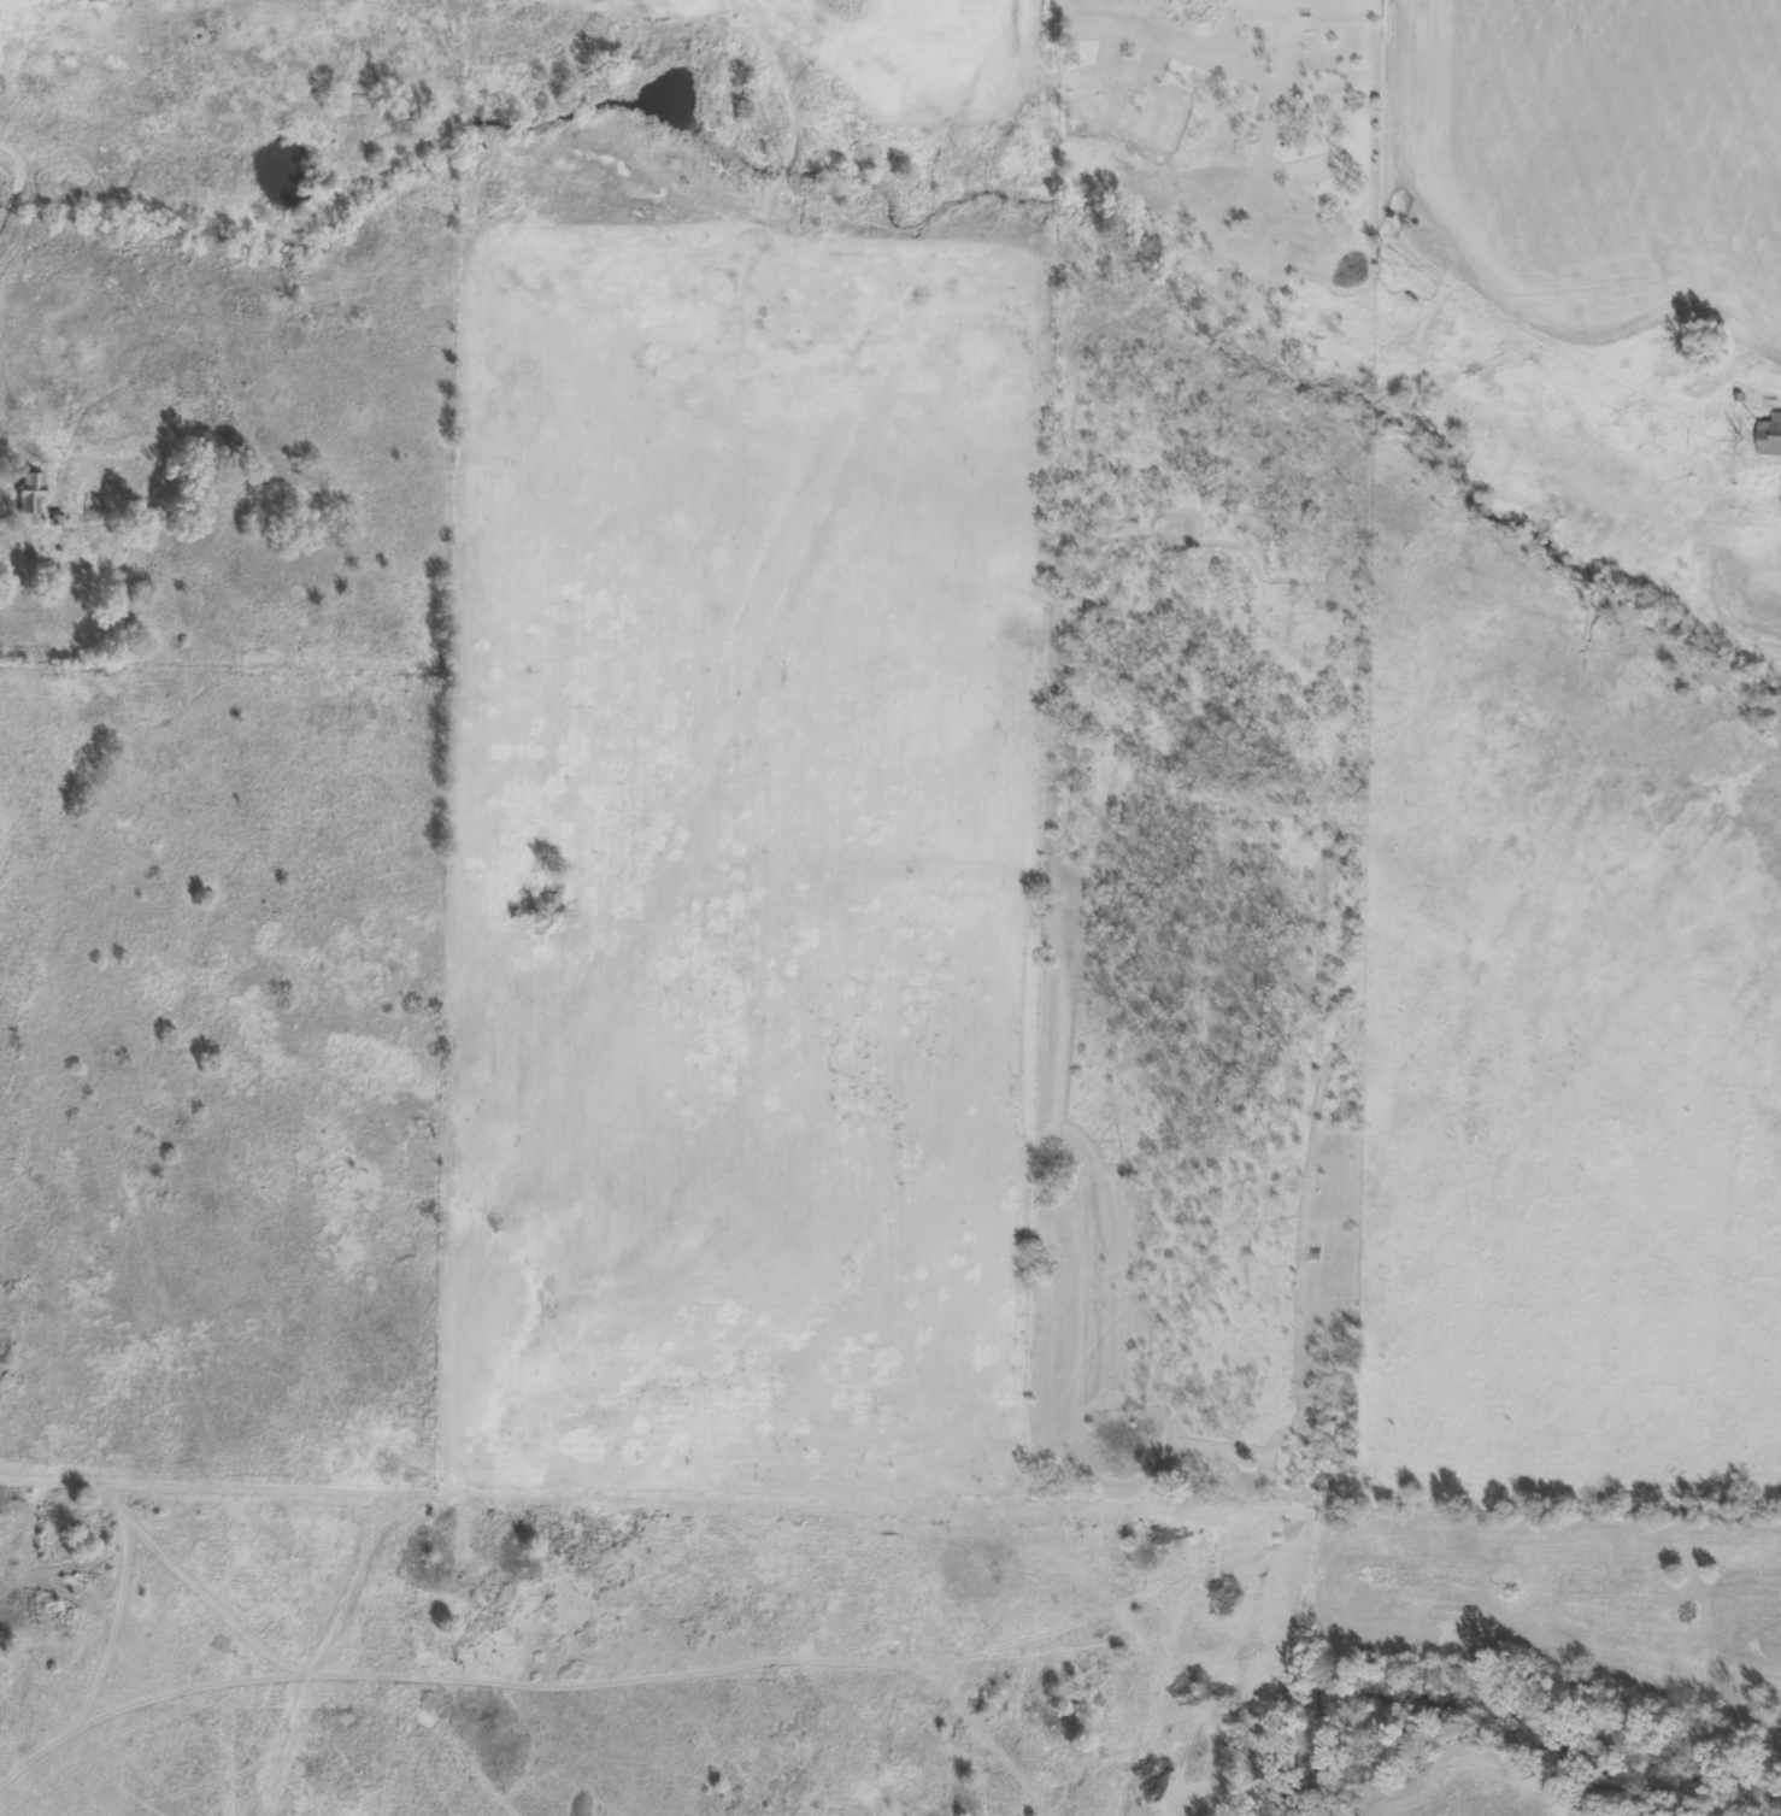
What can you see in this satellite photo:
road: (1368, 25)
road: (1281, 29)
road: (1430, 301)
building: (1770, 435)
building: (30, 493)

